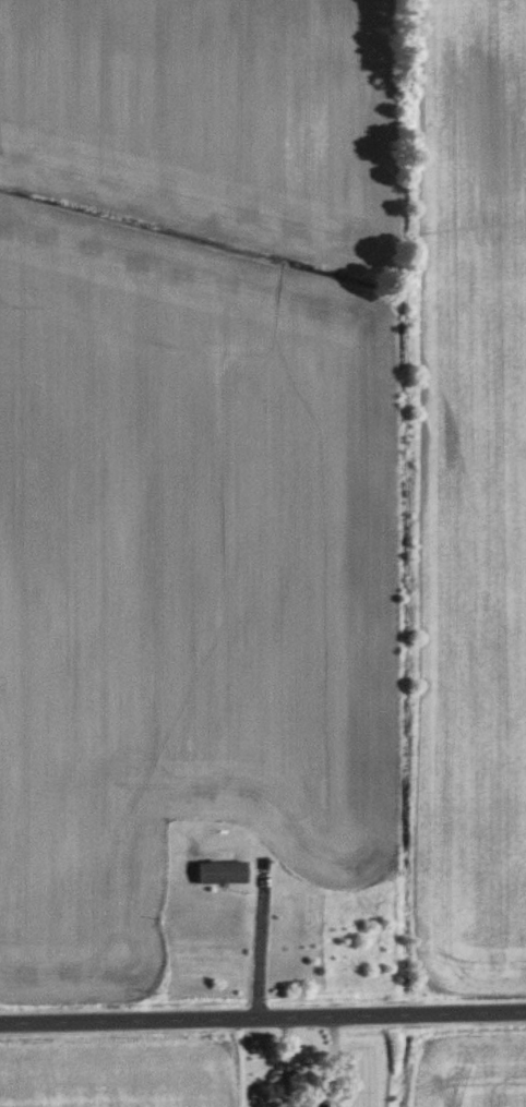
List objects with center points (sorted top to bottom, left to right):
building: (223, 873)
road: (254, 948)
road: (262, 1016)
building: (313, 1103)

